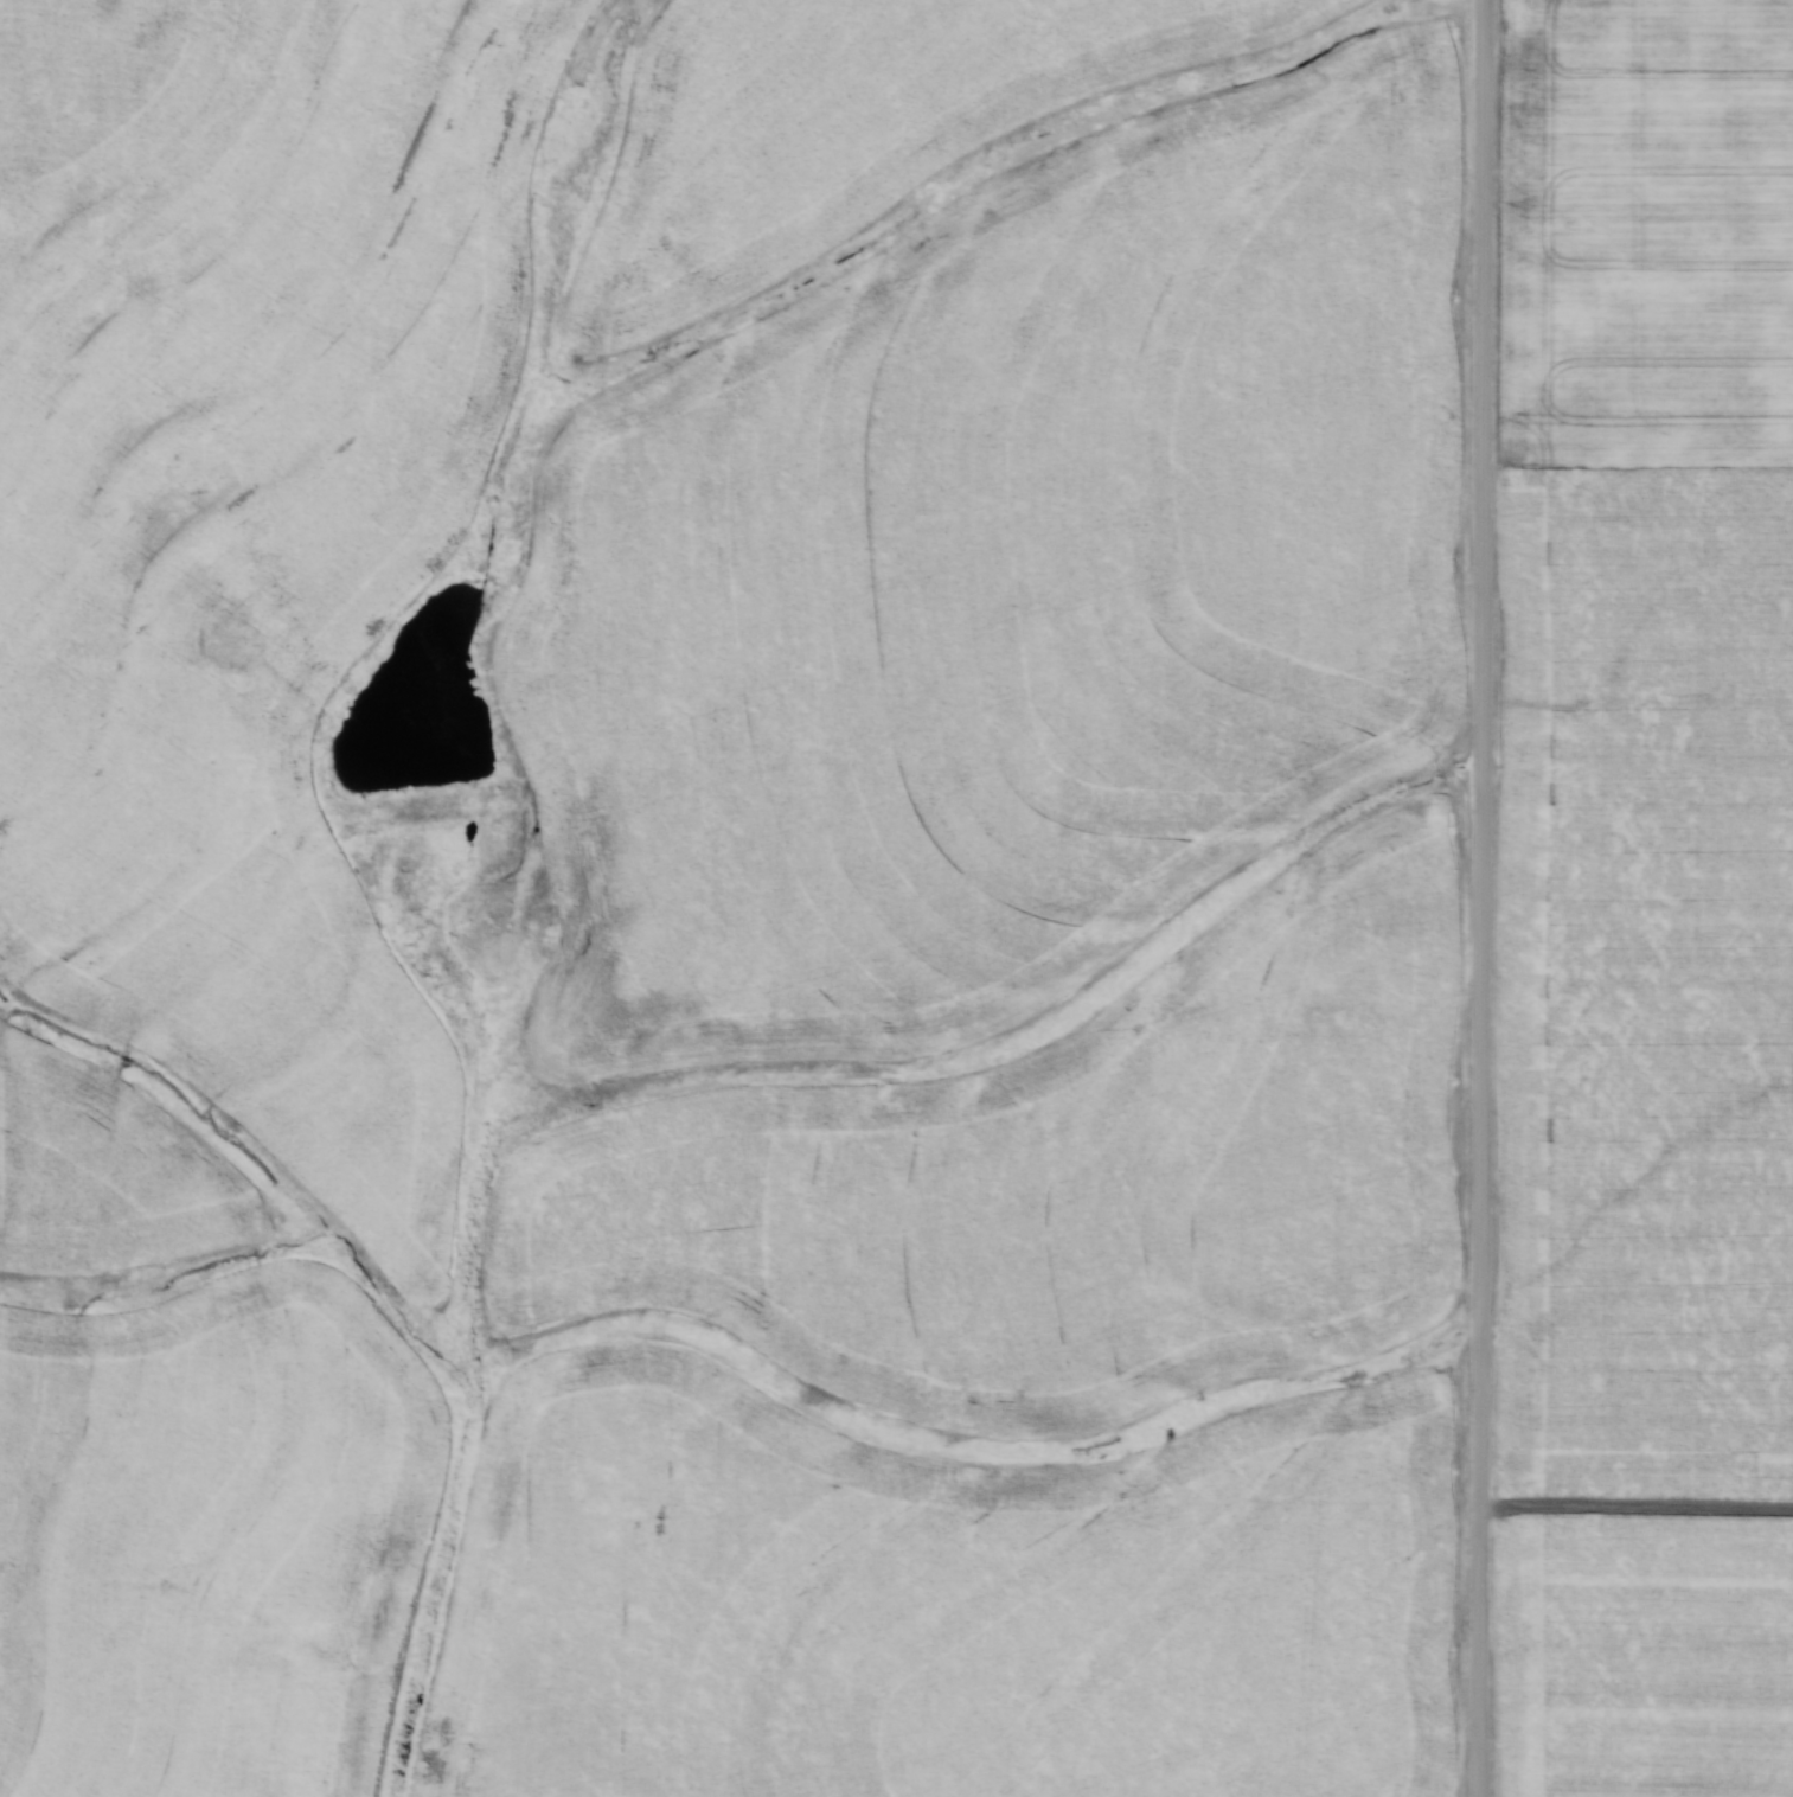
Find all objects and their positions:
road: (1488, 898)

